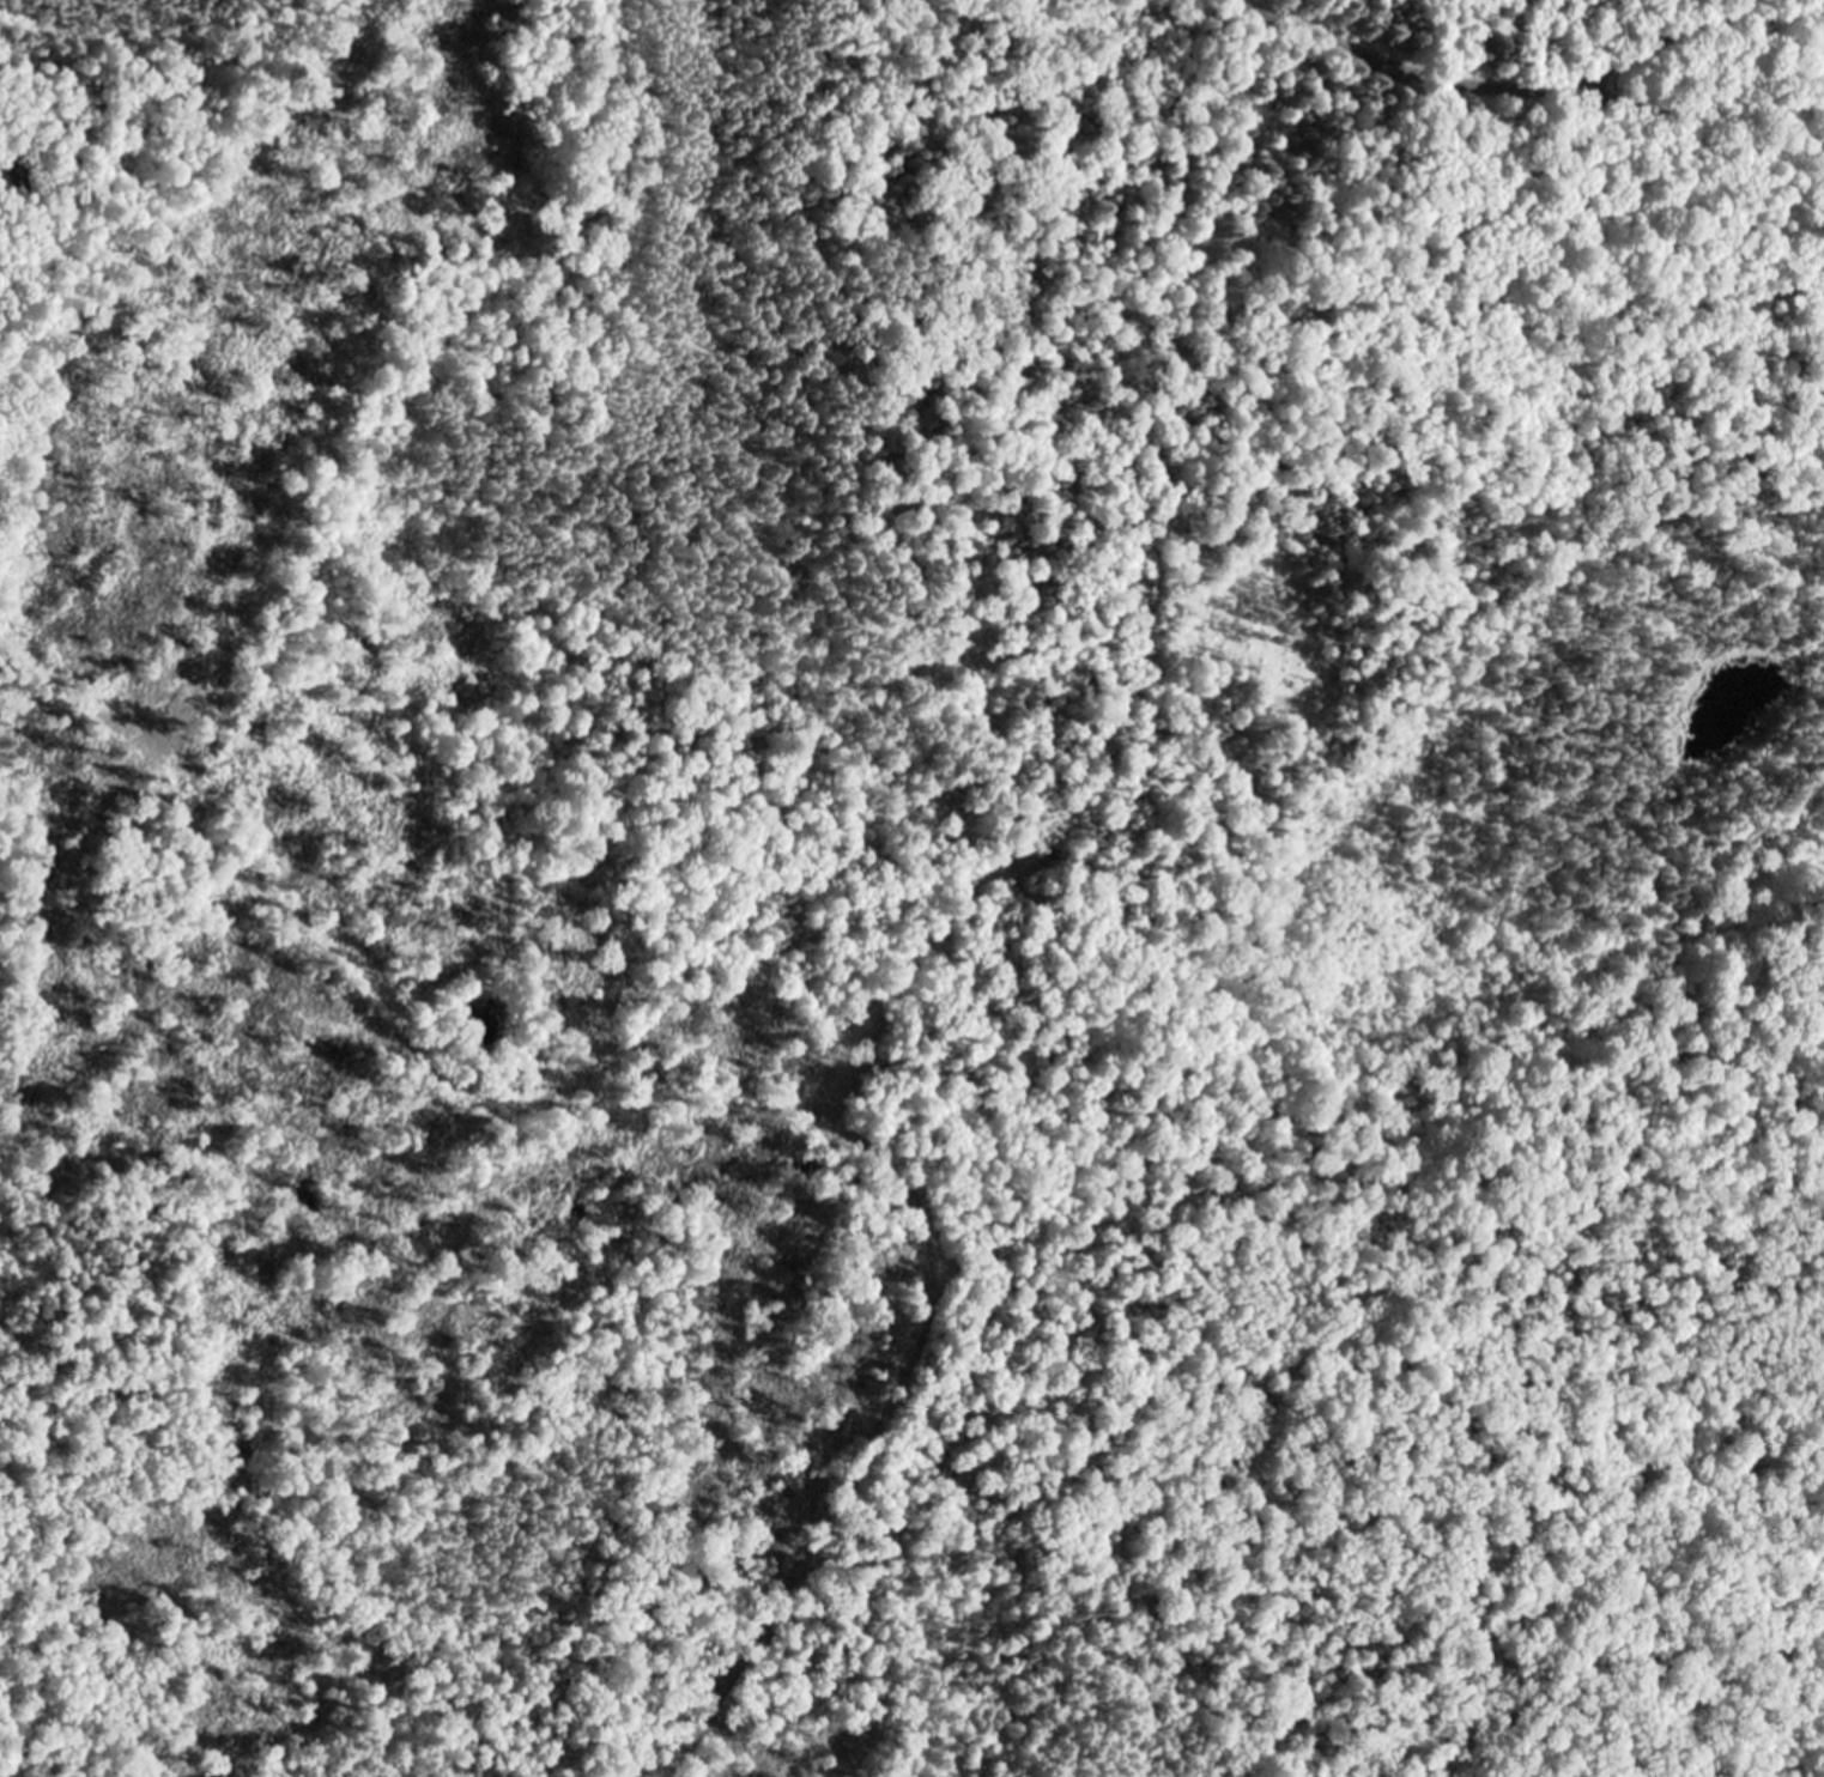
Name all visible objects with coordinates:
road: (1818, 23)
road: (1540, 67)

